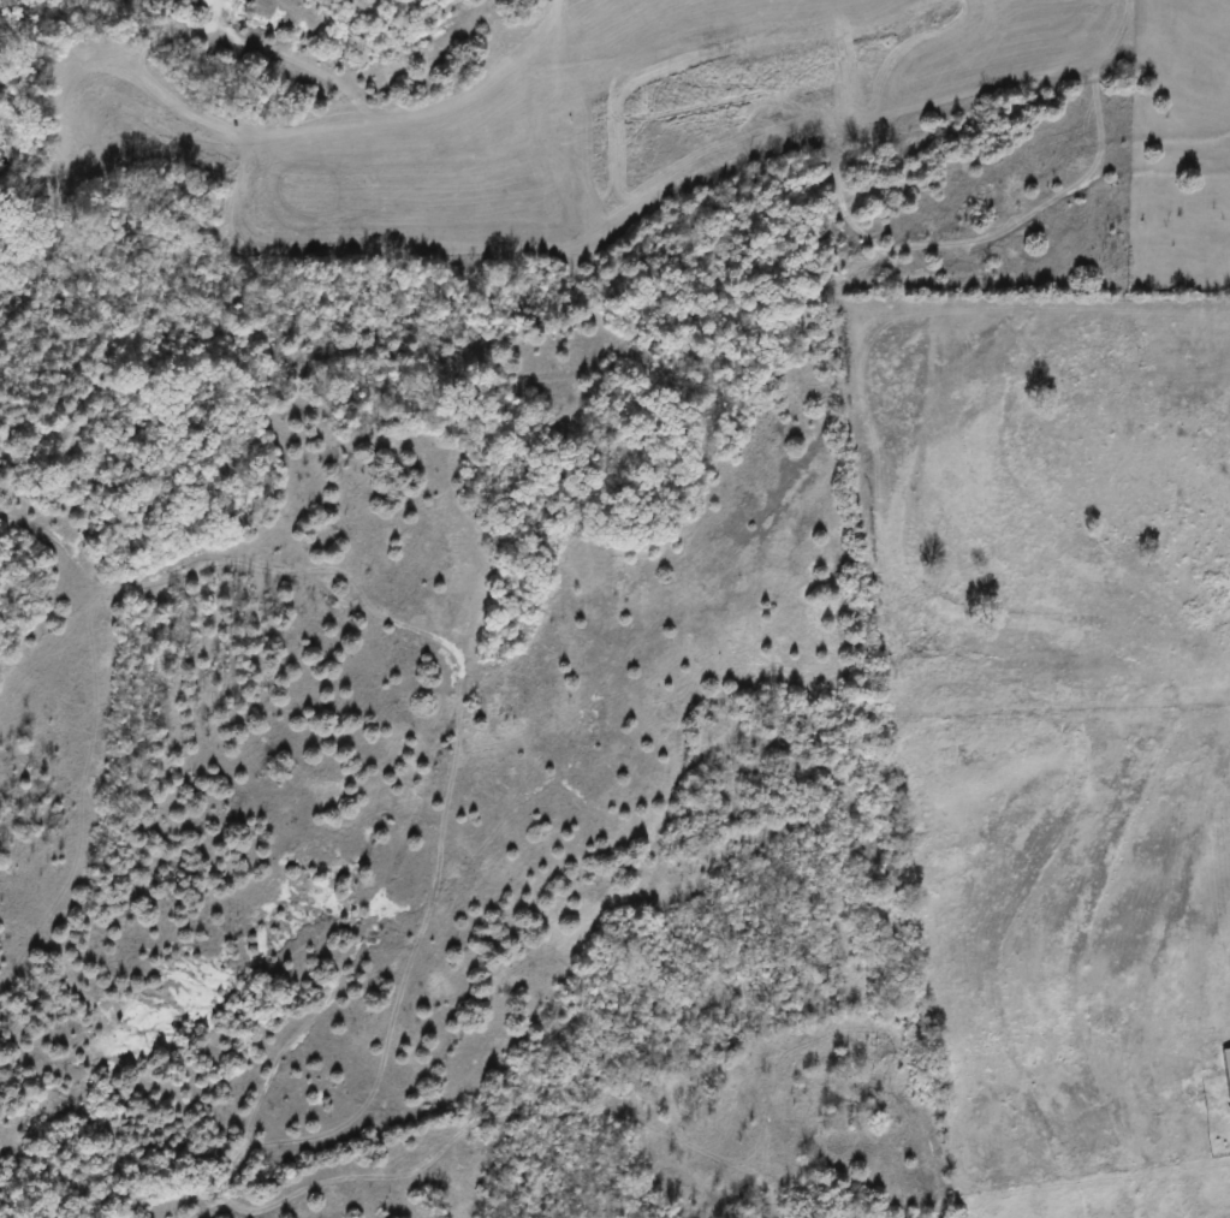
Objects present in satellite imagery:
building: (1226, 1070)

